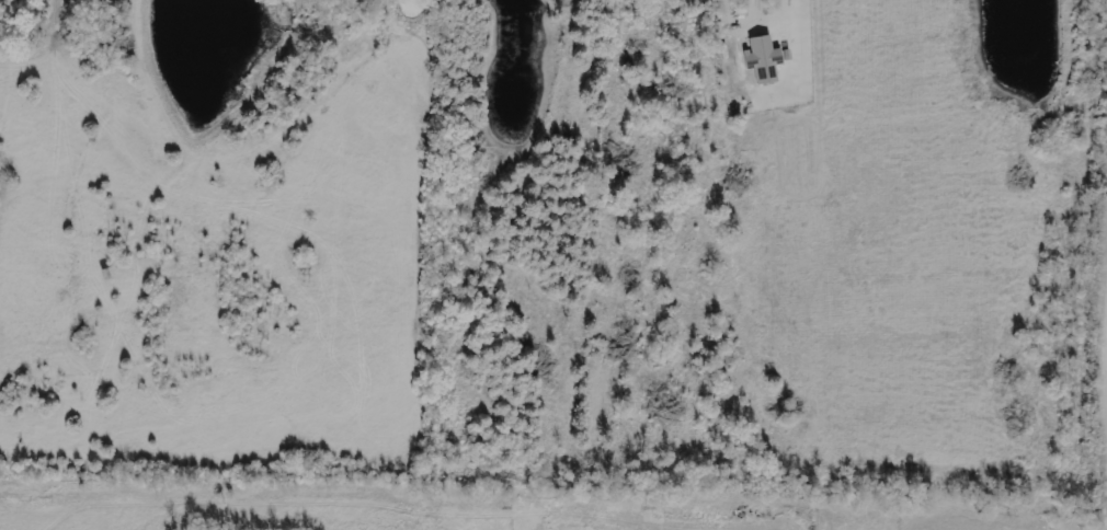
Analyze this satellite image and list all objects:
building: (762, 59)

